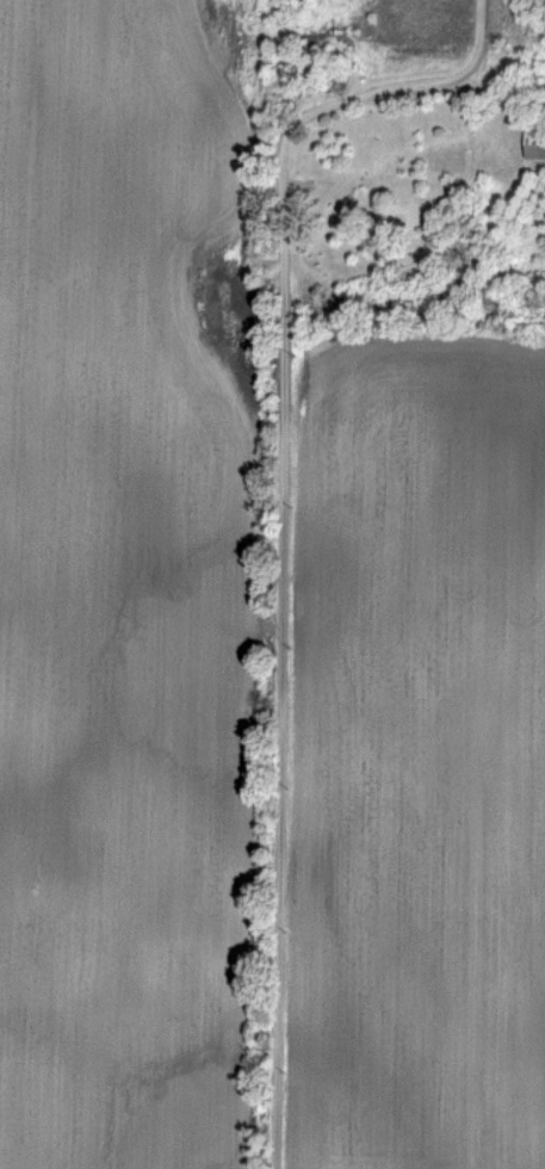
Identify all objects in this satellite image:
road: (281, 515)

